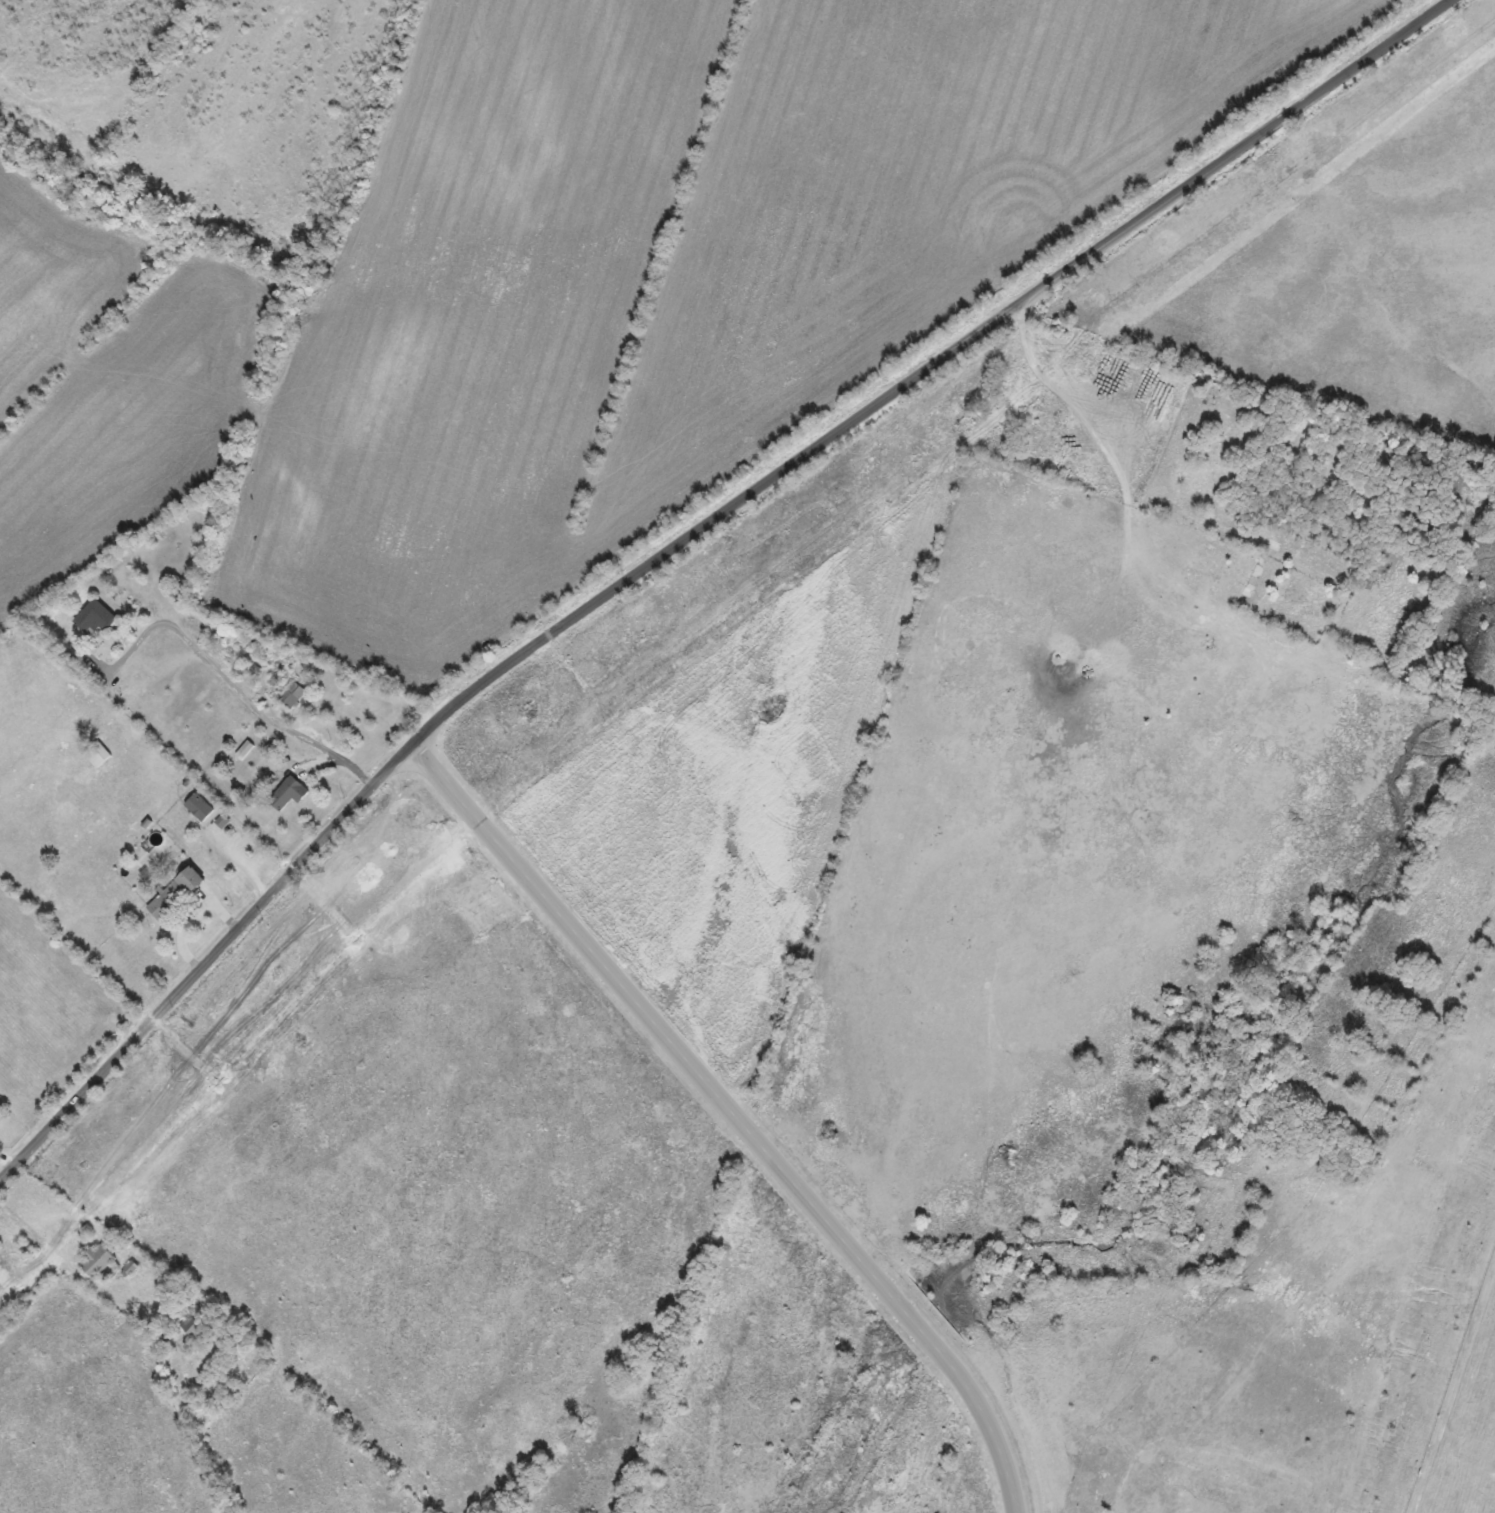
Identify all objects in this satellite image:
building: (1011, 401)
road: (706, 581)
building: (98, 618)
building: (295, 696)
road: (249, 699)
building: (99, 755)
building: (292, 794)
road: (255, 877)
building: (179, 894)
road: (755, 1138)
building: (861, 1146)
road: (23, 1178)
building: (102, 1262)
building: (194, 1326)

